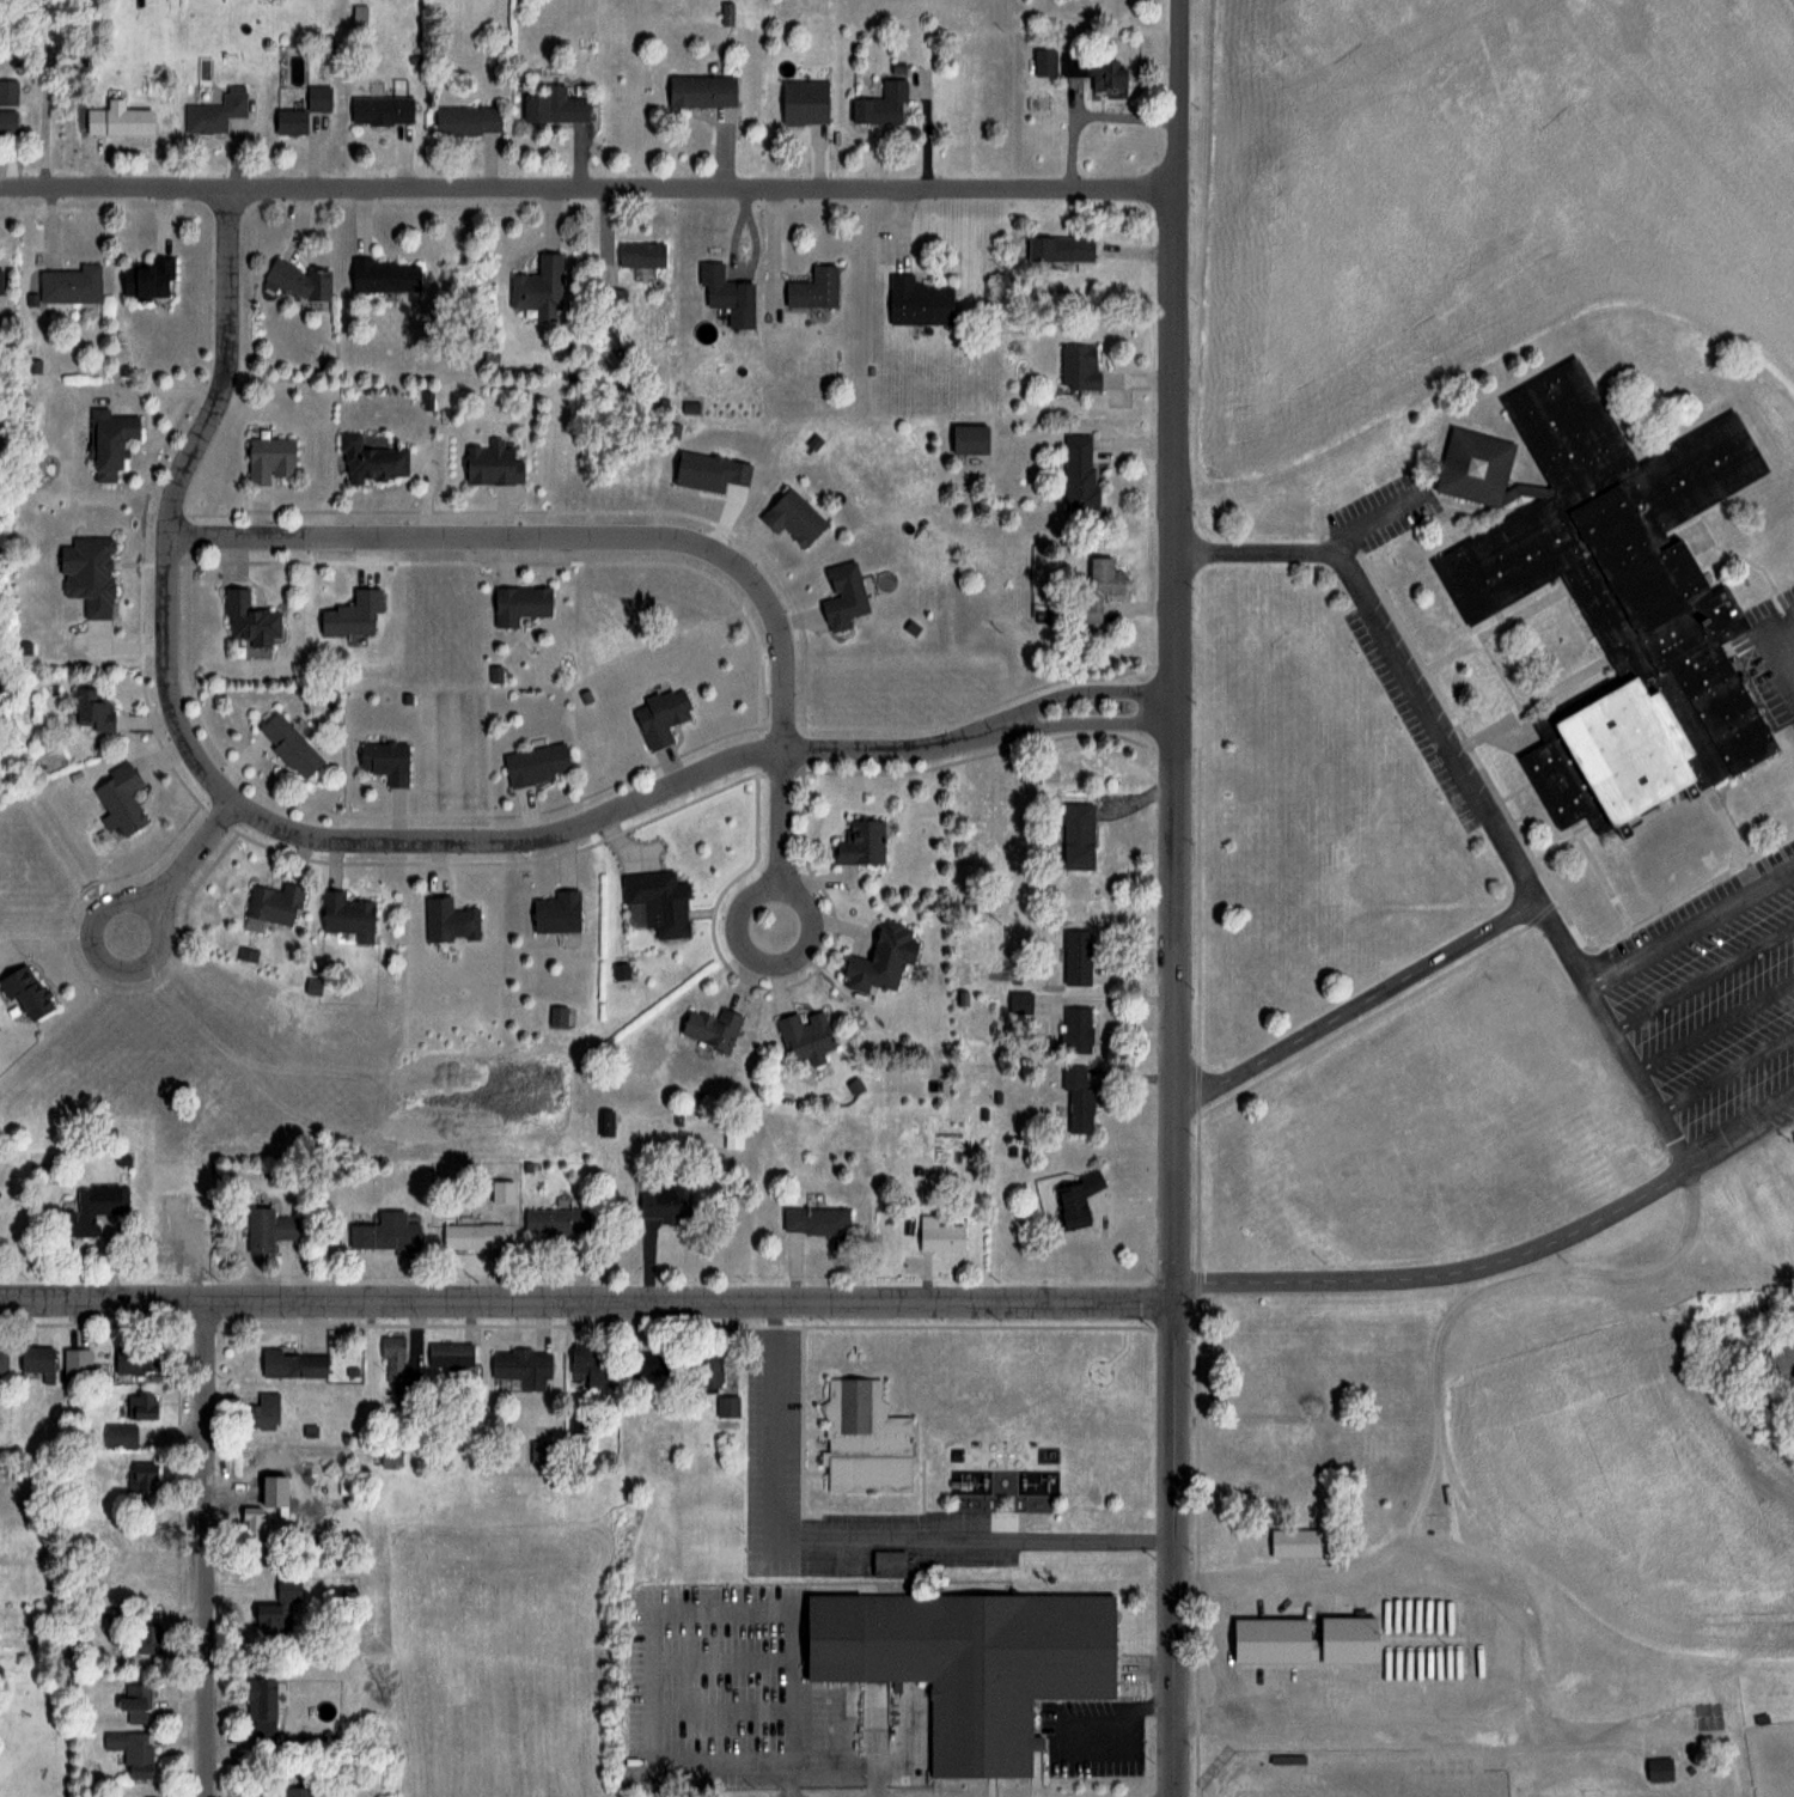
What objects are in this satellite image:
building: (1045, 62)
building: (1106, 73)
building: (7, 91)
building: (701, 91)
building: (317, 98)
building: (804, 102)
building: (880, 105)
building: (555, 109)
building: (380, 110)
building: (215, 112)
road: (1088, 112)
building: (117, 120)
building: (466, 120)
building: (6, 121)
building: (289, 123)
road: (588, 190)
building: (1060, 249)
building: (641, 254)
building: (384, 276)
building: (148, 280)
building: (298, 281)
building: (69, 285)
building: (538, 288)
building: (813, 288)
building: (727, 294)
building: (612, 303)
building: (917, 303)
building: (1079, 366)
building: (969, 438)
building: (108, 443)
building: (268, 458)
building: (368, 459)
building: (490, 463)
building: (1078, 473)
building: (792, 516)
road: (1366, 520)
road: (642, 538)
building: (86, 573)
building: (1098, 590)
building: (842, 595)
building: (1615, 601)
building: (518, 603)
building: (249, 619)
road: (1784, 651)
road: (1416, 698)
building: (93, 708)
building: (660, 714)
building: (288, 744)
building: (384, 760)
building: (536, 763)
building: (120, 798)
building: (1076, 834)
road: (392, 839)
building: (861, 842)
road: (179, 869)
road: (1178, 897)
building: (659, 901)
building: (274, 903)
building: (556, 912)
building: (347, 915)
building: (450, 920)
road: (1776, 924)
road: (1692, 931)
building: (1076, 956)
building: (880, 958)
road: (1759, 971)
road: (1584, 977)
building: (24, 991)
road: (1357, 1006)
parking lot: (1705, 1015)
road: (1734, 1021)
building: (712, 1028)
building: (1075, 1028)
building: (804, 1032)
road: (1695, 1041)
building: (1078, 1098)
road: (1672, 1121)
building: (736, 1137)
building: (665, 1198)
building: (1075, 1198)
building: (85, 1210)
building: (814, 1219)
building: (554, 1220)
building: (267, 1229)
building: (384, 1232)
building: (938, 1233)
building: (472, 1236)
road: (1436, 1275)
road: (586, 1300)
building: (448, 1354)
building: (4, 1357)
building: (392, 1357)
building: (133, 1358)
building: (36, 1360)
building: (591, 1363)
building: (289, 1364)
building: (643, 1364)
building: (75, 1365)
building: (521, 1366)
building: (703, 1370)
building: (139, 1406)
building: (263, 1412)
building: (118, 1436)
building: (865, 1439)
building: (140, 1478)
building: (248, 1523)
road: (859, 1534)
building: (1295, 1541)
road: (206, 1548)
building: (887, 1563)
road: (654, 1603)
building: (264, 1618)
building: (146, 1638)
building: (1345, 1638)
building: (1269, 1639)
road: (1216, 1646)
building: (968, 1663)
building: (260, 1700)
building: (134, 1702)
road: (1123, 1724)
building: (130, 1752)
building: (1283, 1758)
road: (832, 1764)
building: (1659, 1768)
road: (775, 1781)
park: (1355, 1781)
building: (295, 1791)

